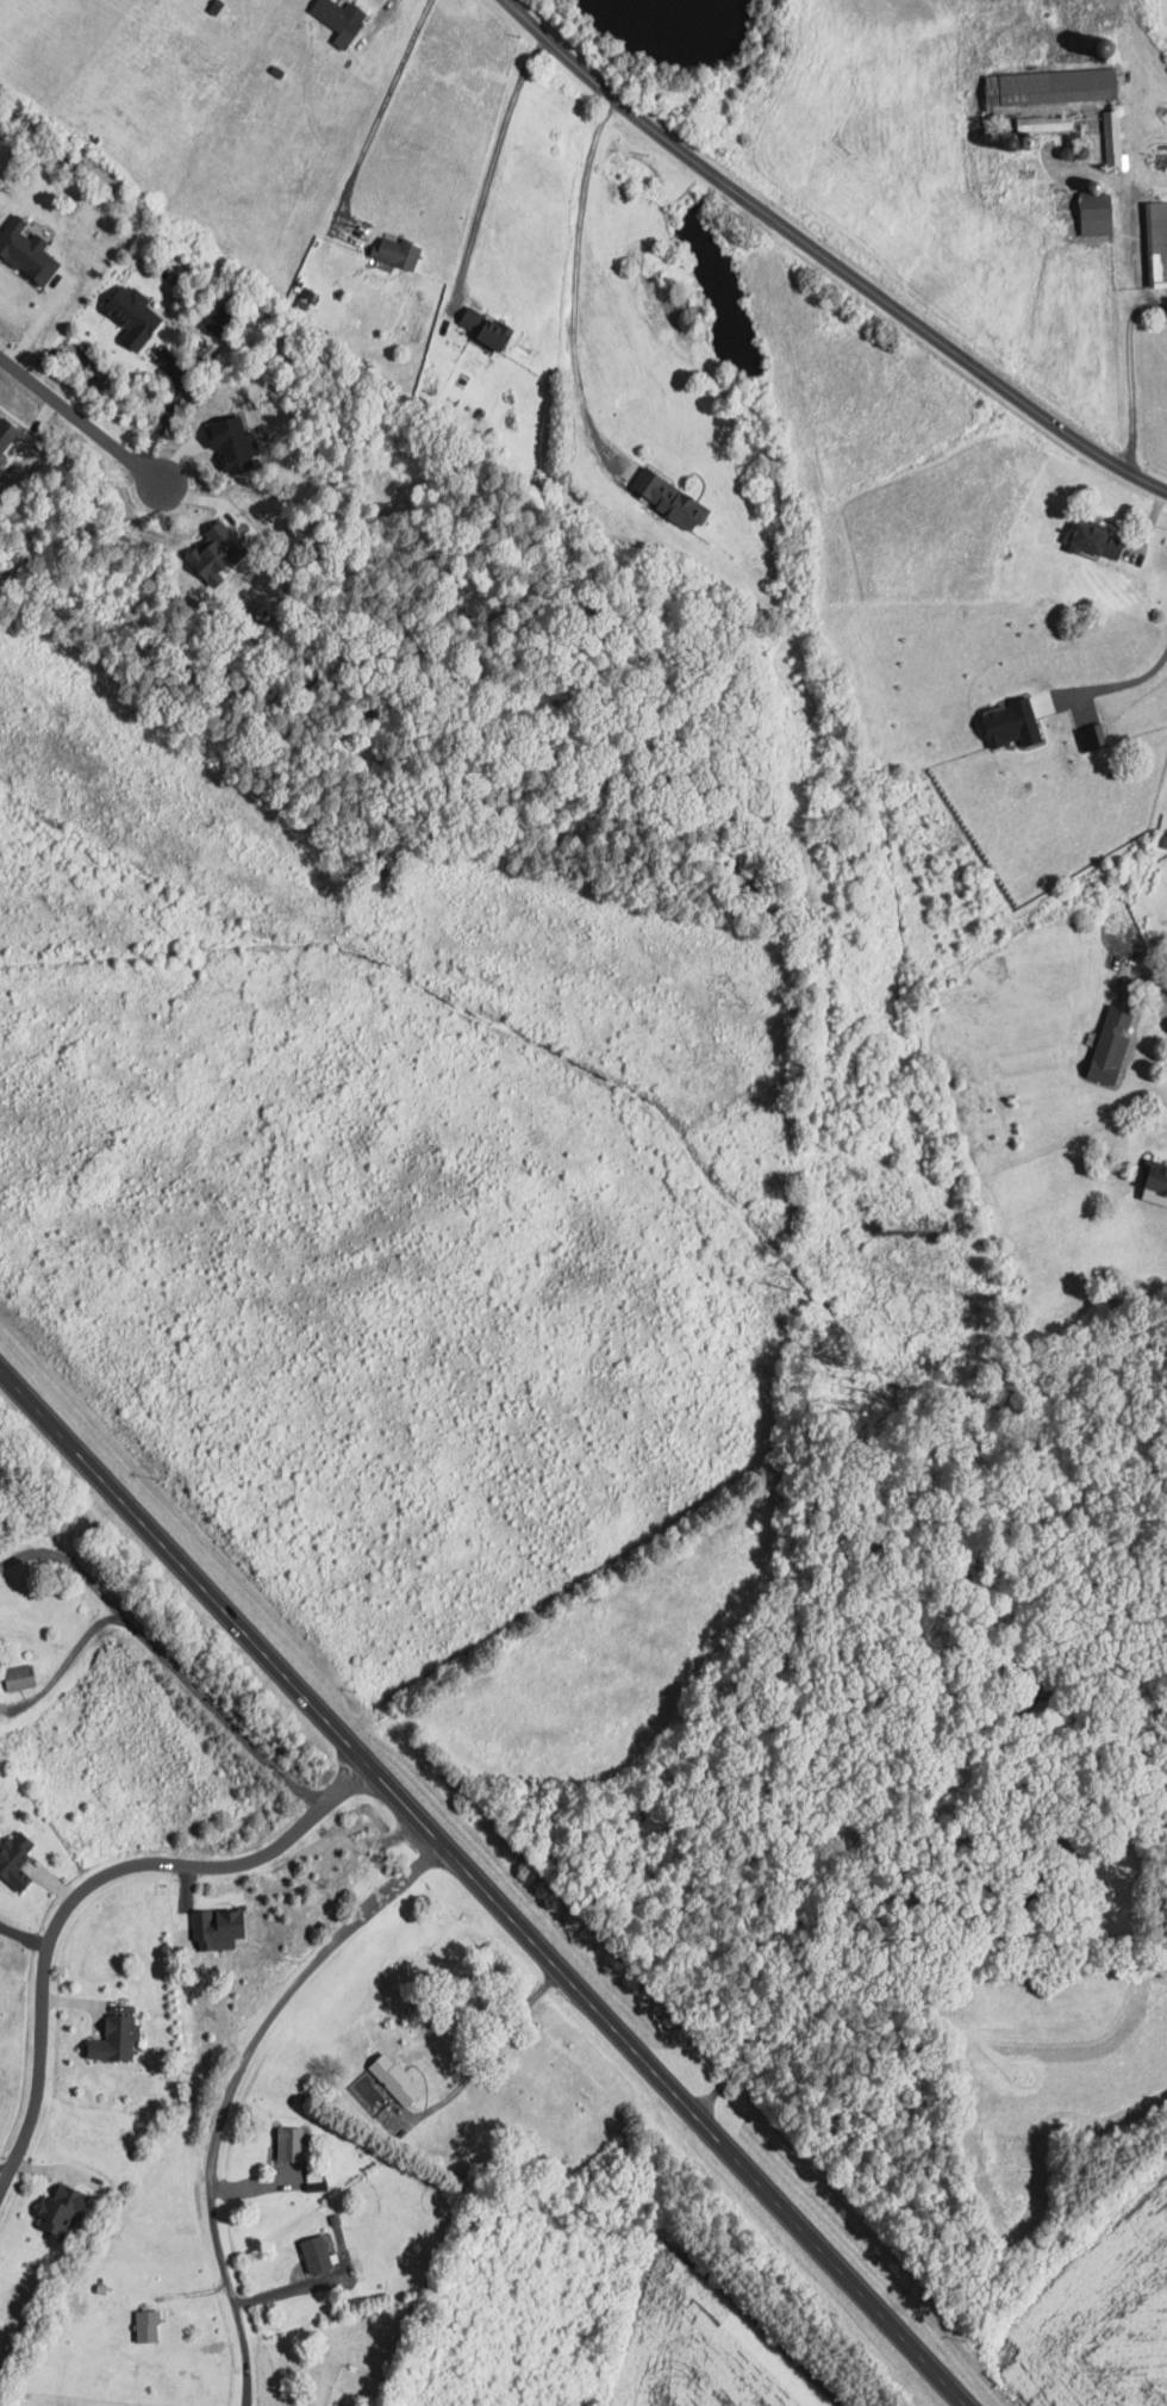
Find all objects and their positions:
building: (344, 15)
building: (1056, 86)
road: (377, 117)
building: (1048, 123)
building: (1115, 138)
road: (492, 167)
building: (1100, 213)
building: (1159, 242)
building: (401, 251)
road: (826, 257)
road: (578, 281)
road: (1147, 304)
building: (138, 316)
road: (1129, 325)
building: (492, 328)
road: (169, 409)
road: (76, 417)
building: (7, 435)
building: (237, 442)
building: (675, 499)
building: (1086, 537)
building: (223, 553)
road: (1129, 684)
building: (1004, 722)
road: (1157, 991)
building: (1105, 1043)
building: (1150, 1181)
road: (65, 1661)
road: (168, 1661)
building: (24, 1677)
building: (19, 1860)
road: (482, 1886)
road: (87, 1888)
road: (913, 1935)
building: (120, 2038)
road: (485, 2052)
building: (391, 2077)
road: (232, 2087)
road: (713, 2093)
building: (286, 2145)
building: (67, 2206)
building: (311, 2253)
road: (289, 2289)
building: (151, 2324)

